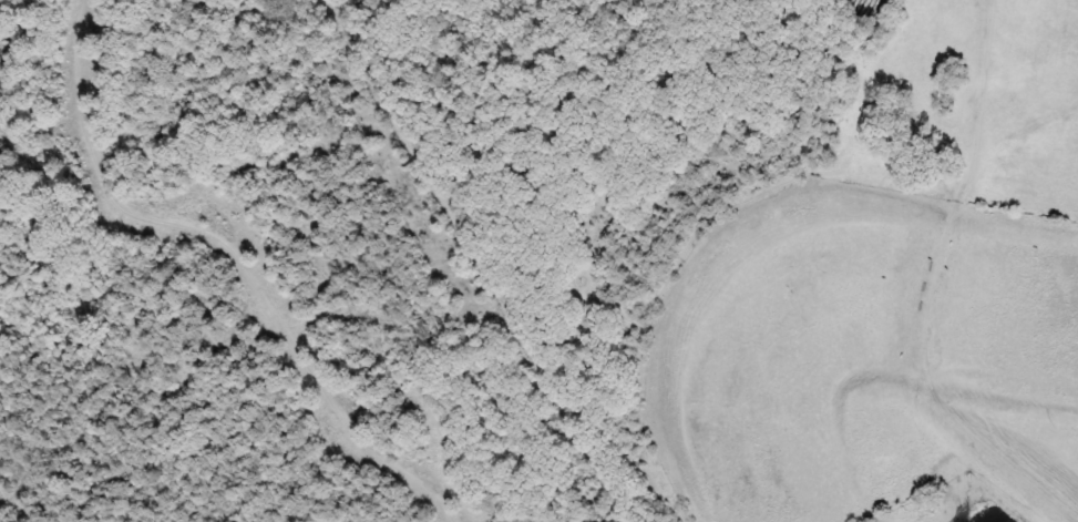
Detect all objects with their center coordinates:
road: (926, 291)

